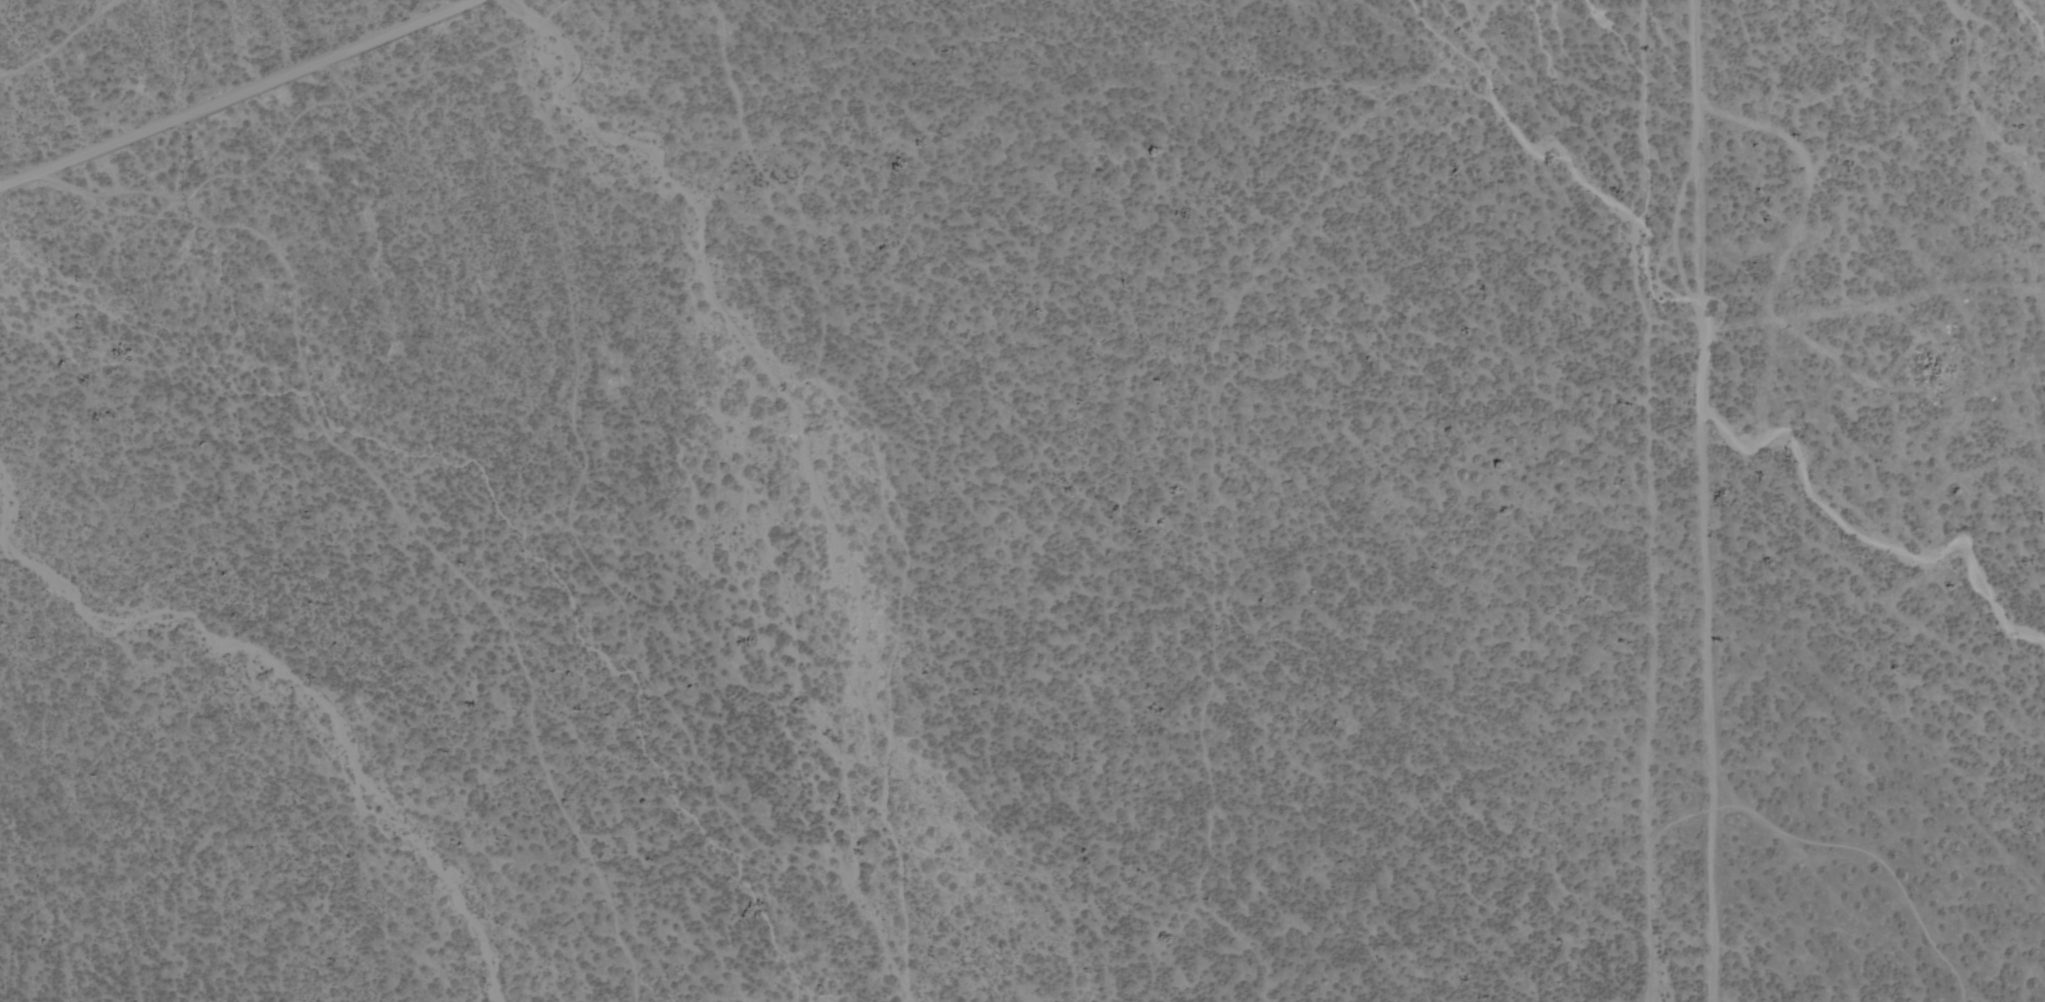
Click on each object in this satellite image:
road: (235, 91)
road: (1652, 501)

